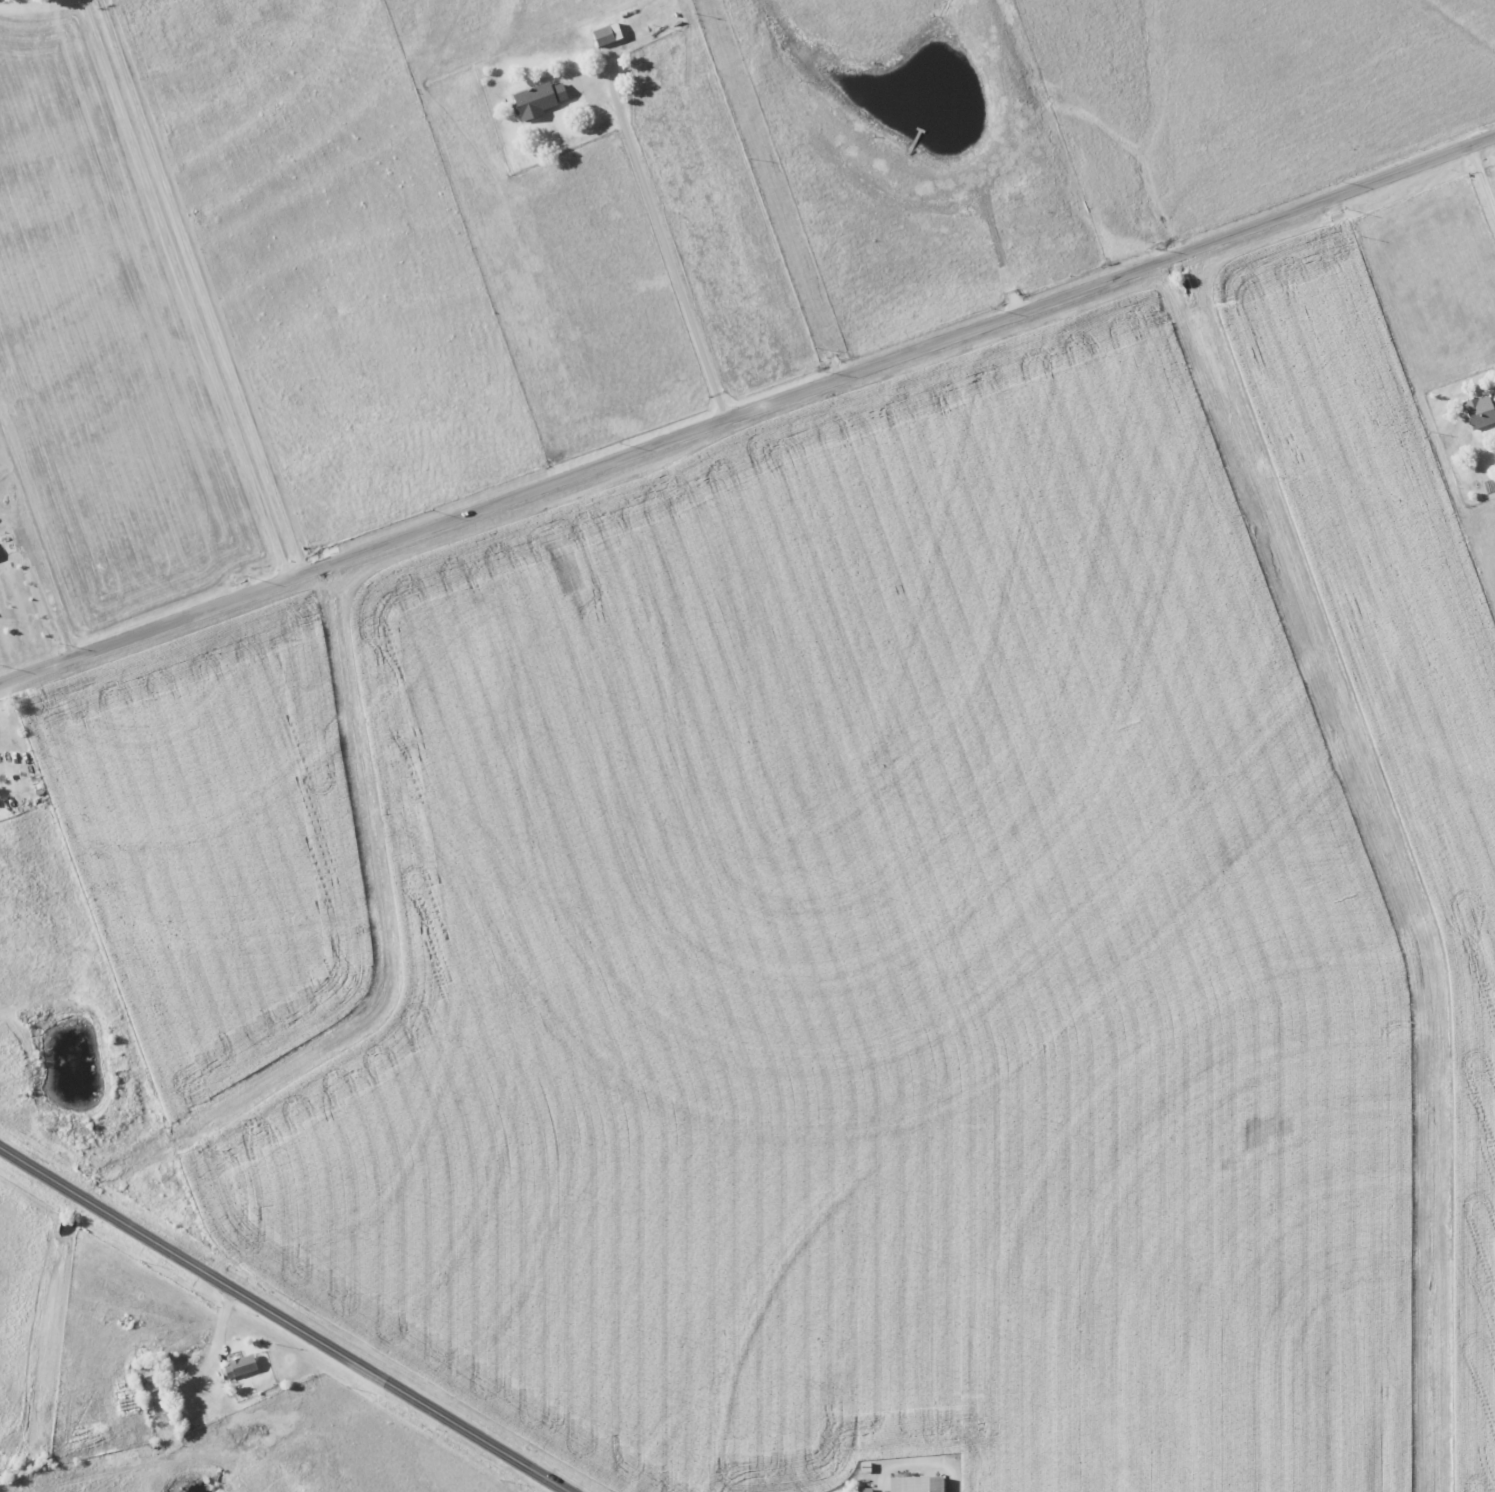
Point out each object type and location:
building: (605, 34)
building: (537, 99)
road: (1479, 185)
road: (666, 249)
road: (207, 287)
road: (190, 290)
road: (748, 411)
building: (1479, 411)
road: (284, 1319)
building: (238, 1366)
building: (914, 1484)
building: (862, 1489)

